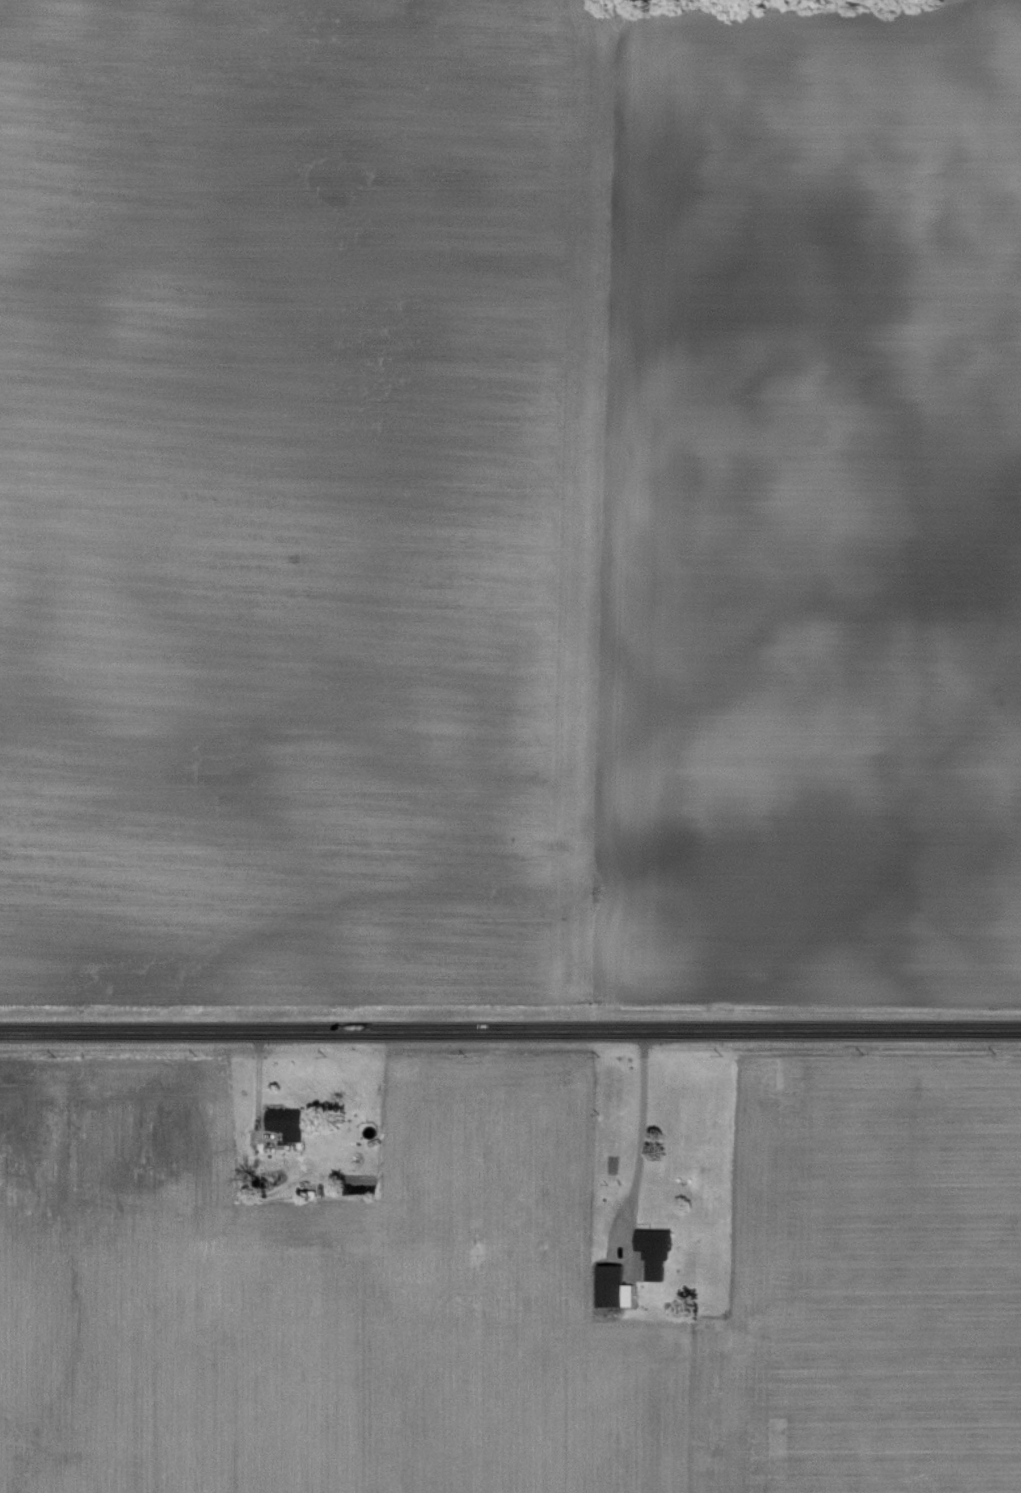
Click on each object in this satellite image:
road: (510, 1032)
road: (255, 1093)
road: (639, 1124)
building: (650, 1250)
building: (618, 1278)
road: (37, 1445)

